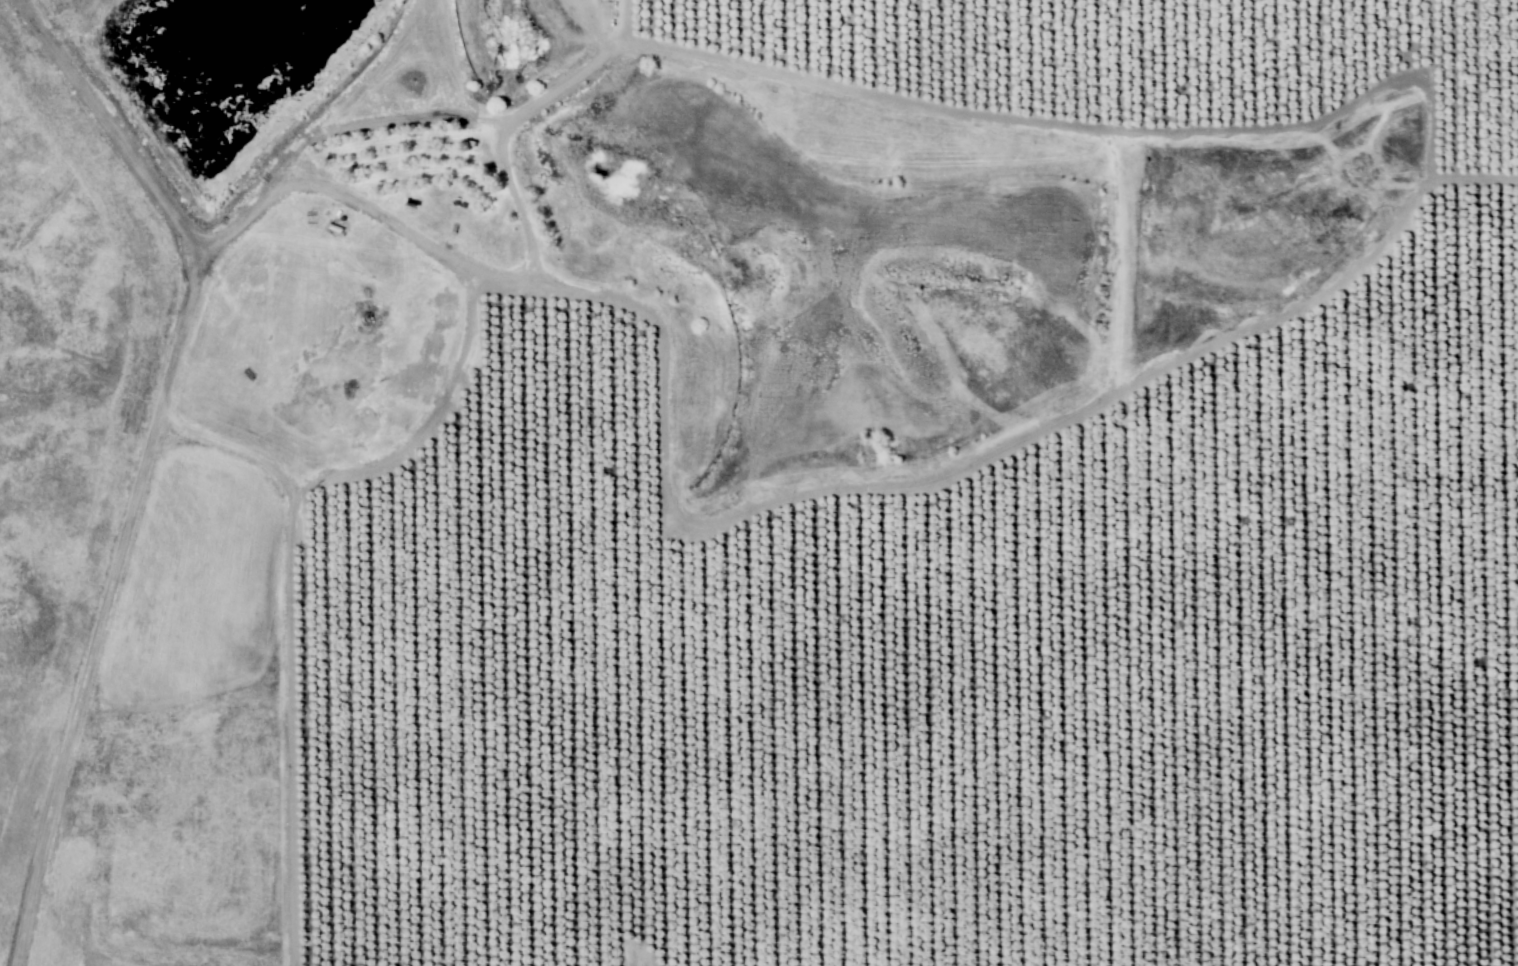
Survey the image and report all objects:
crop: (812, 487)

